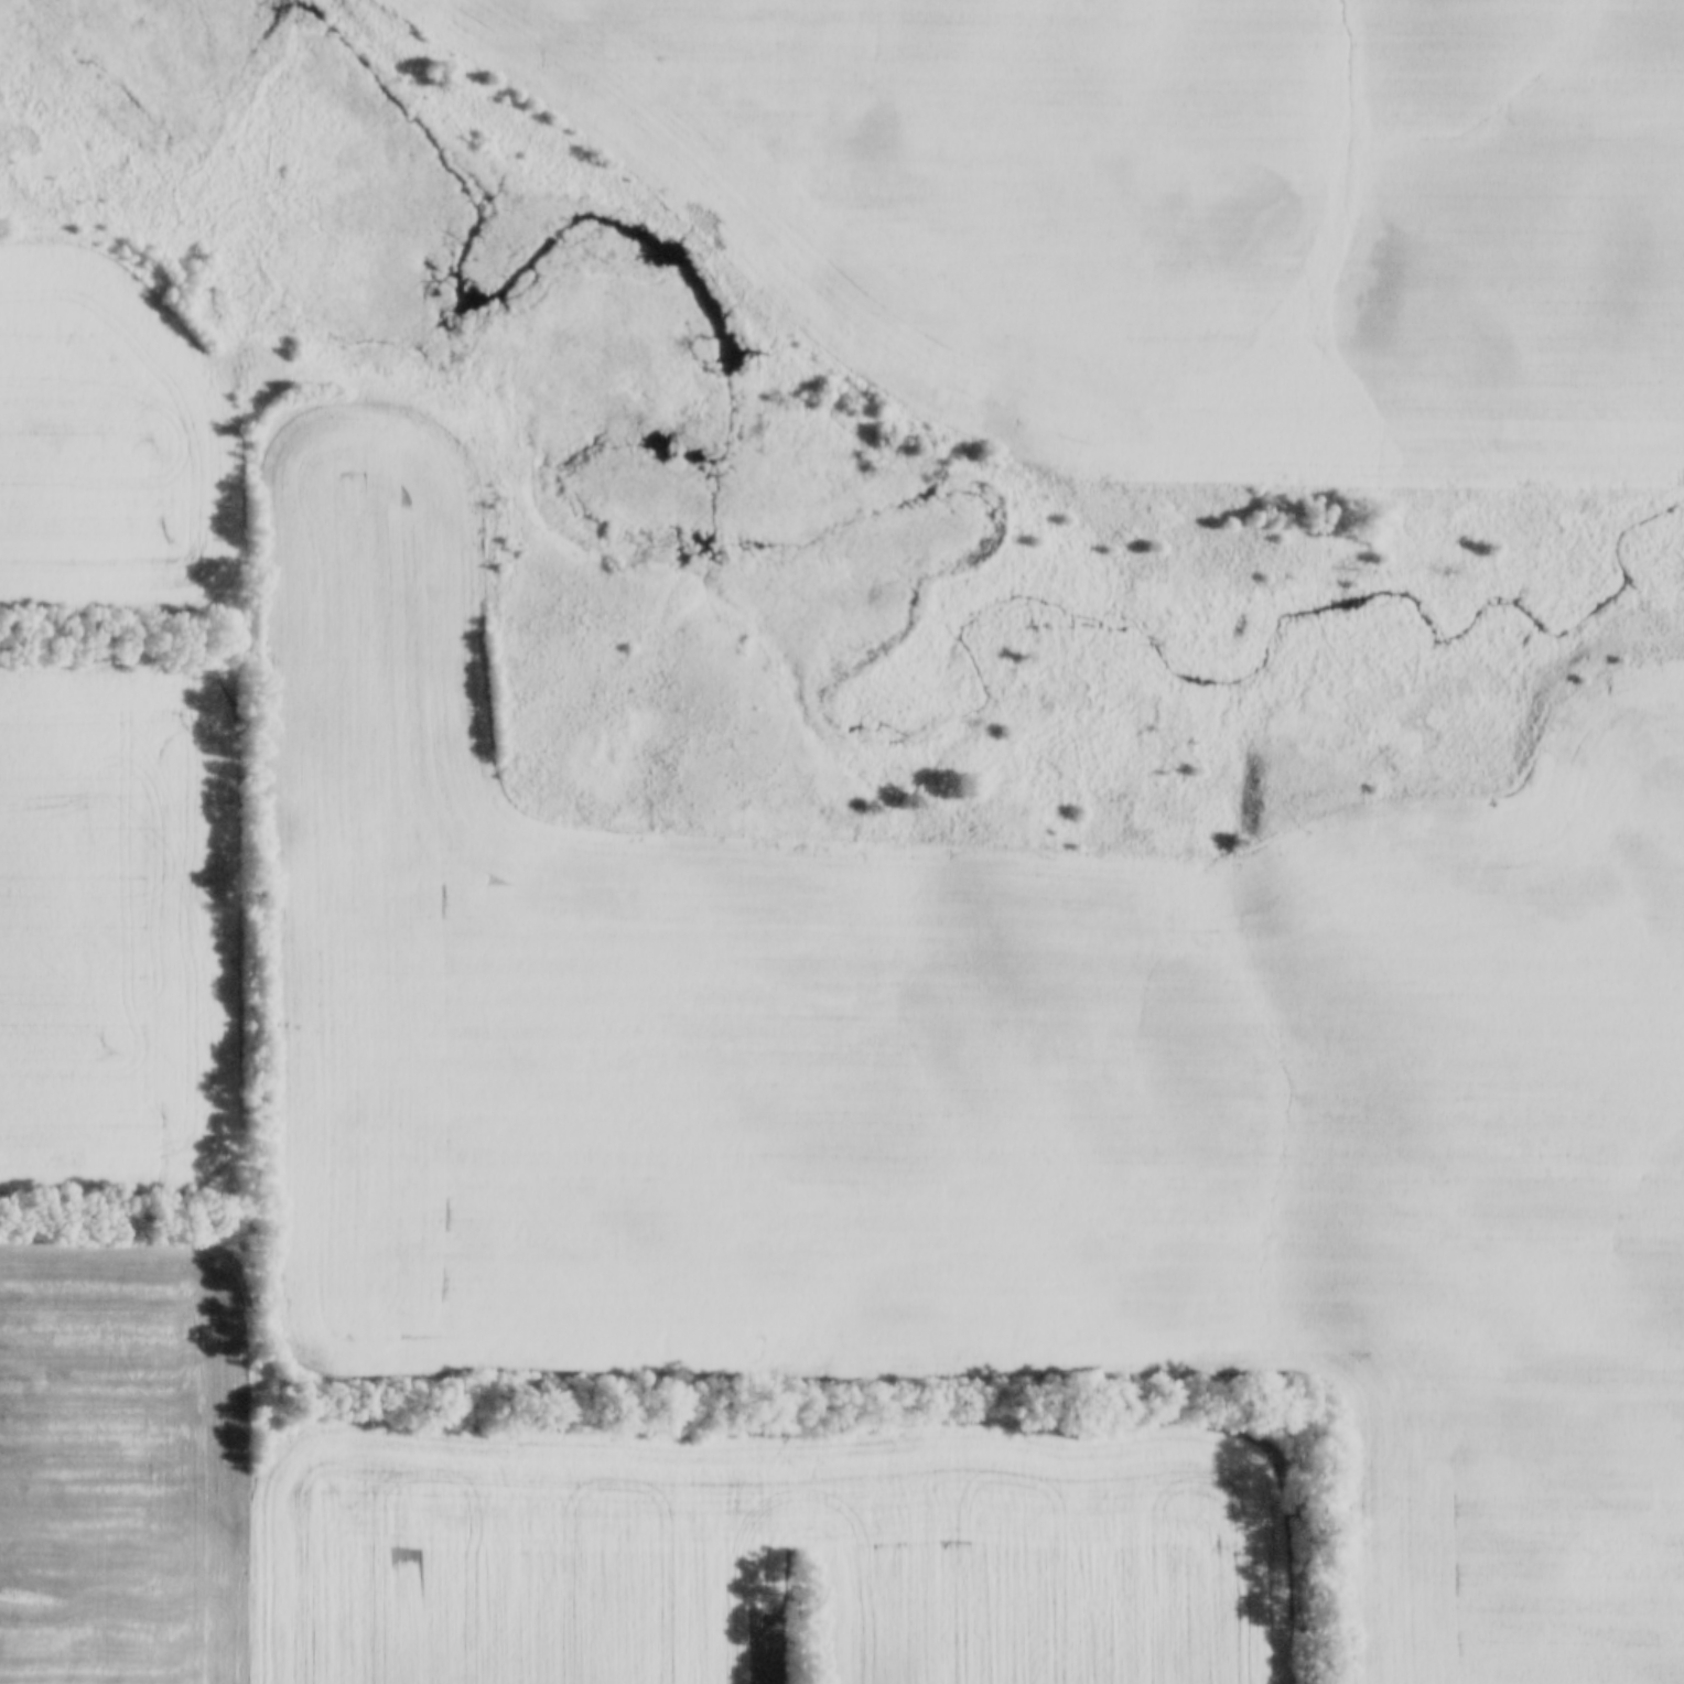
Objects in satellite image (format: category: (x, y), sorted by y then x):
river: (794, 536)

